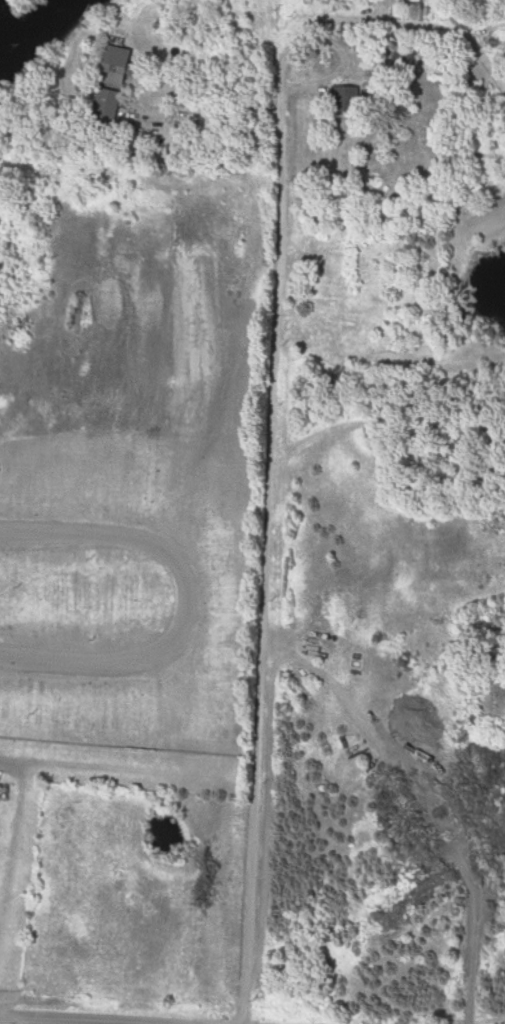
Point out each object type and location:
road: (370, 7)
road: (454, 33)
building: (115, 87)
building: (344, 100)
road: (205, 116)
road: (268, 518)
road: (184, 606)
building: (1, 798)
road: (27, 1022)
road: (35, 1023)

